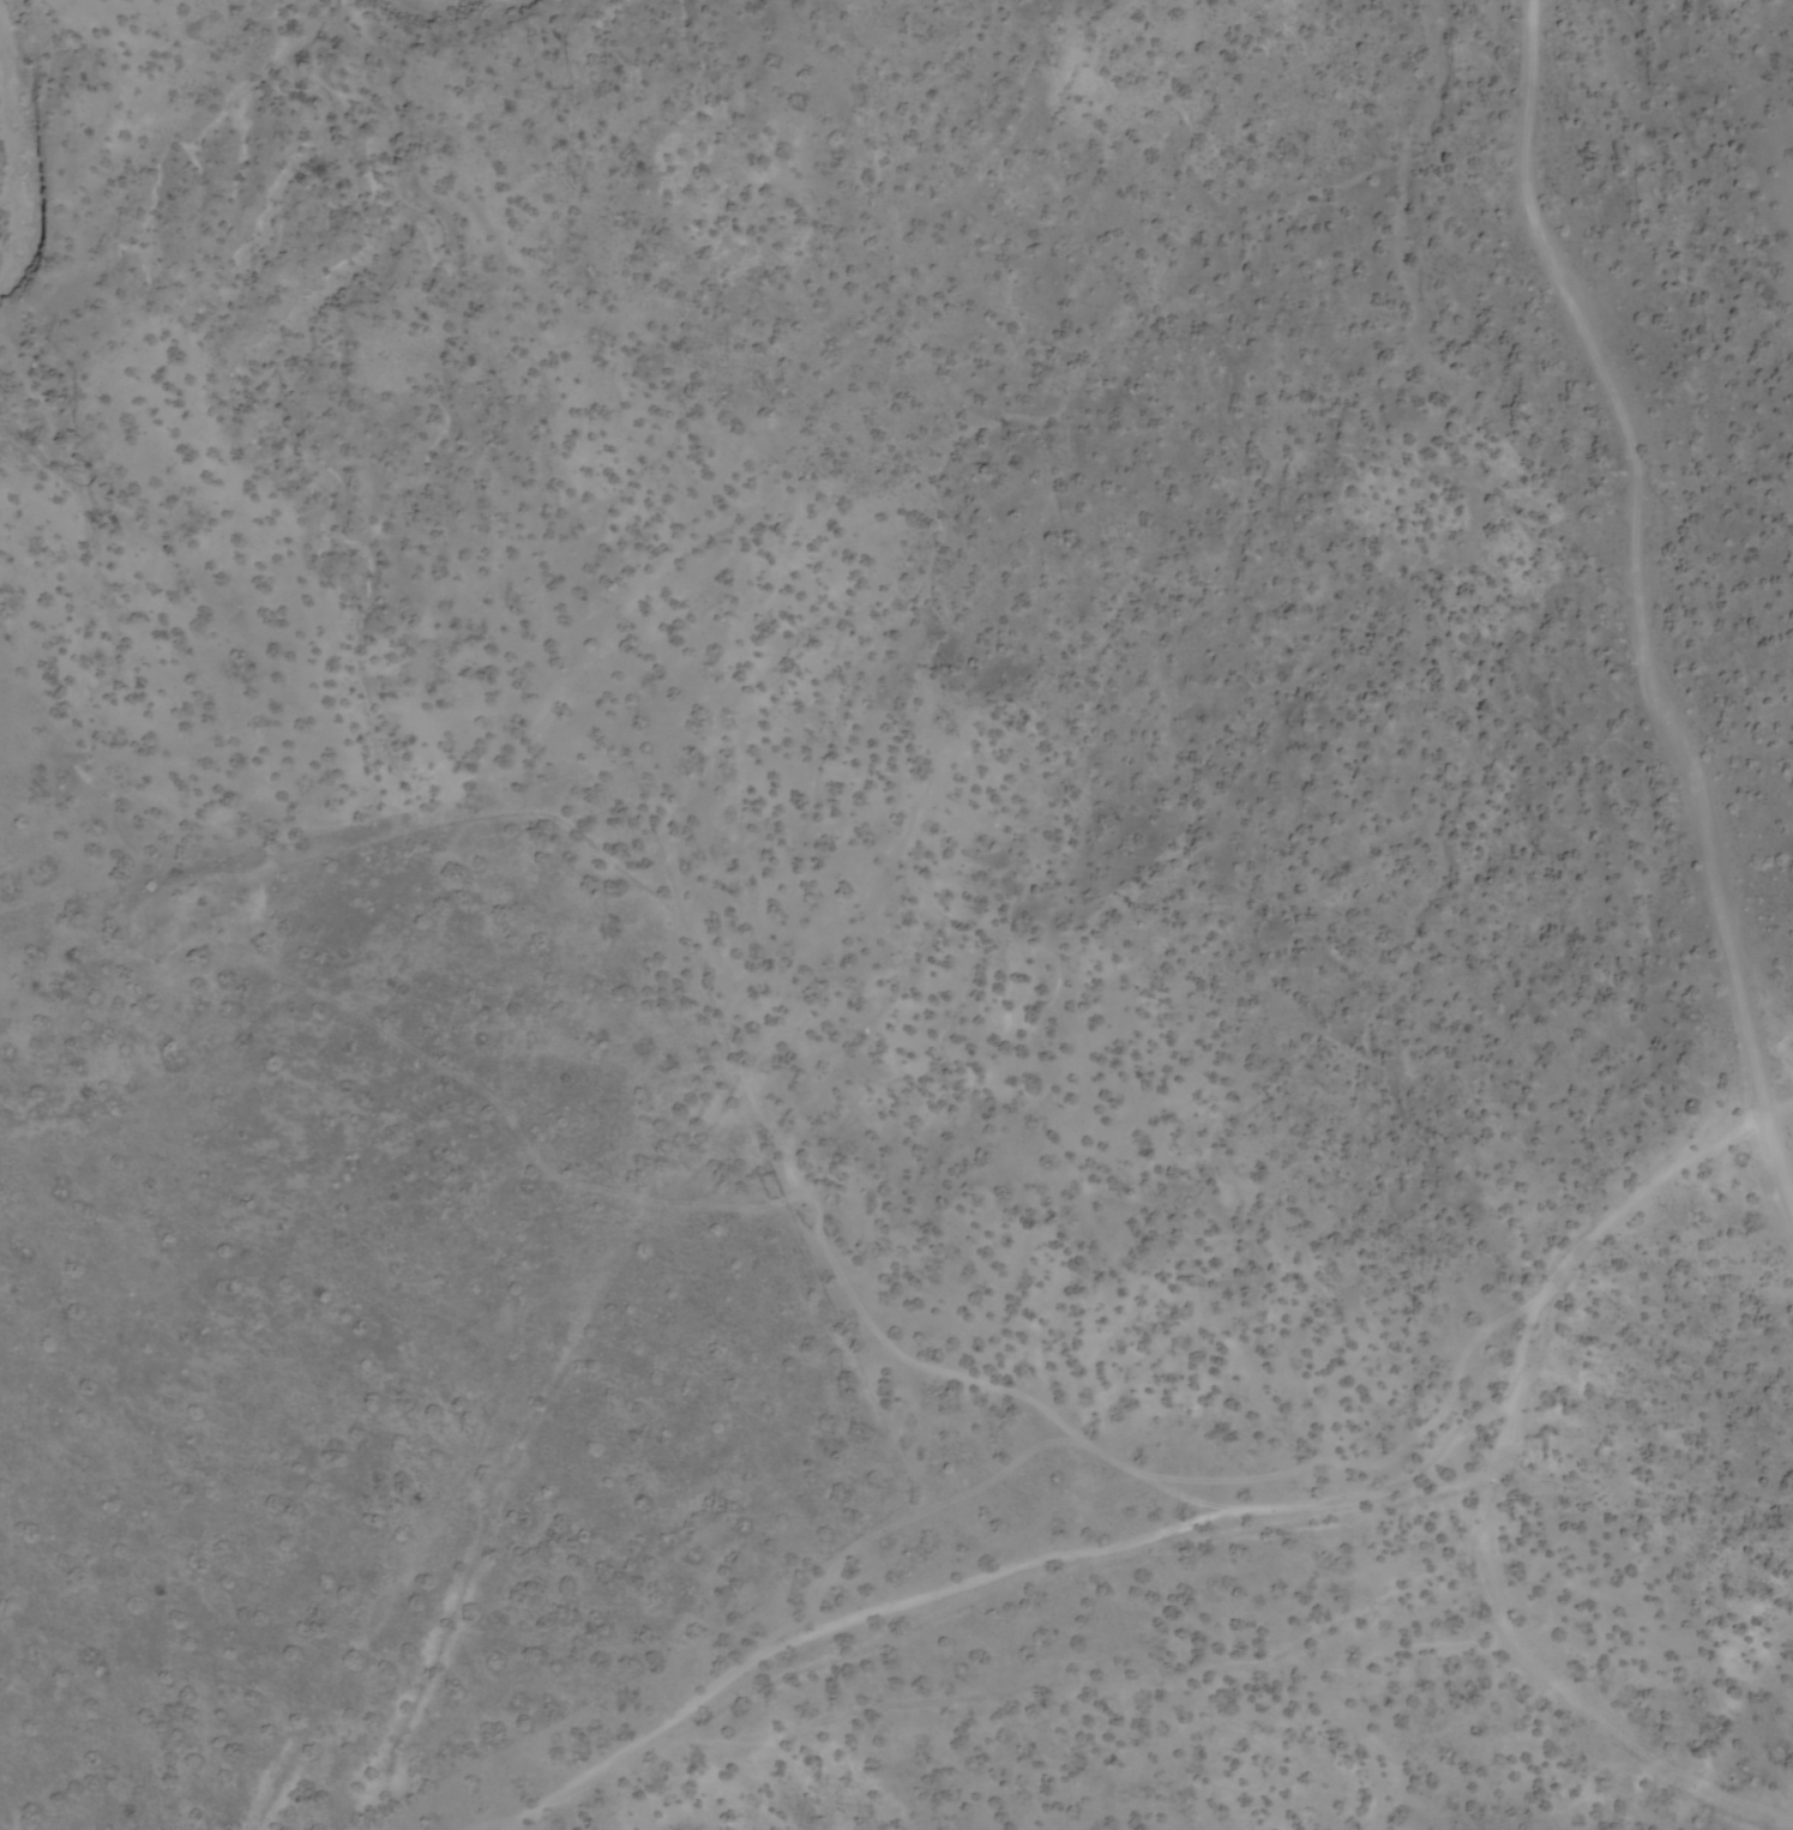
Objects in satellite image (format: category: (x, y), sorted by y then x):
road: (1629, 570)
road: (1506, 1435)
road: (970, 1536)

